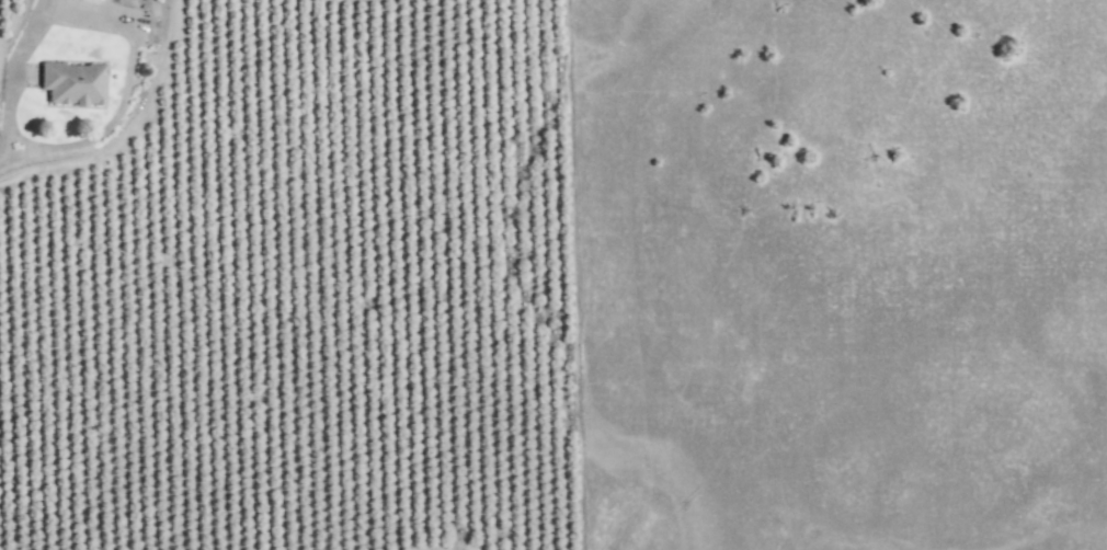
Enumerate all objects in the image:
building: (96, 0)
road: (122, 25)
building: (70, 83)
road: (4, 145)
crop: (299, 296)

